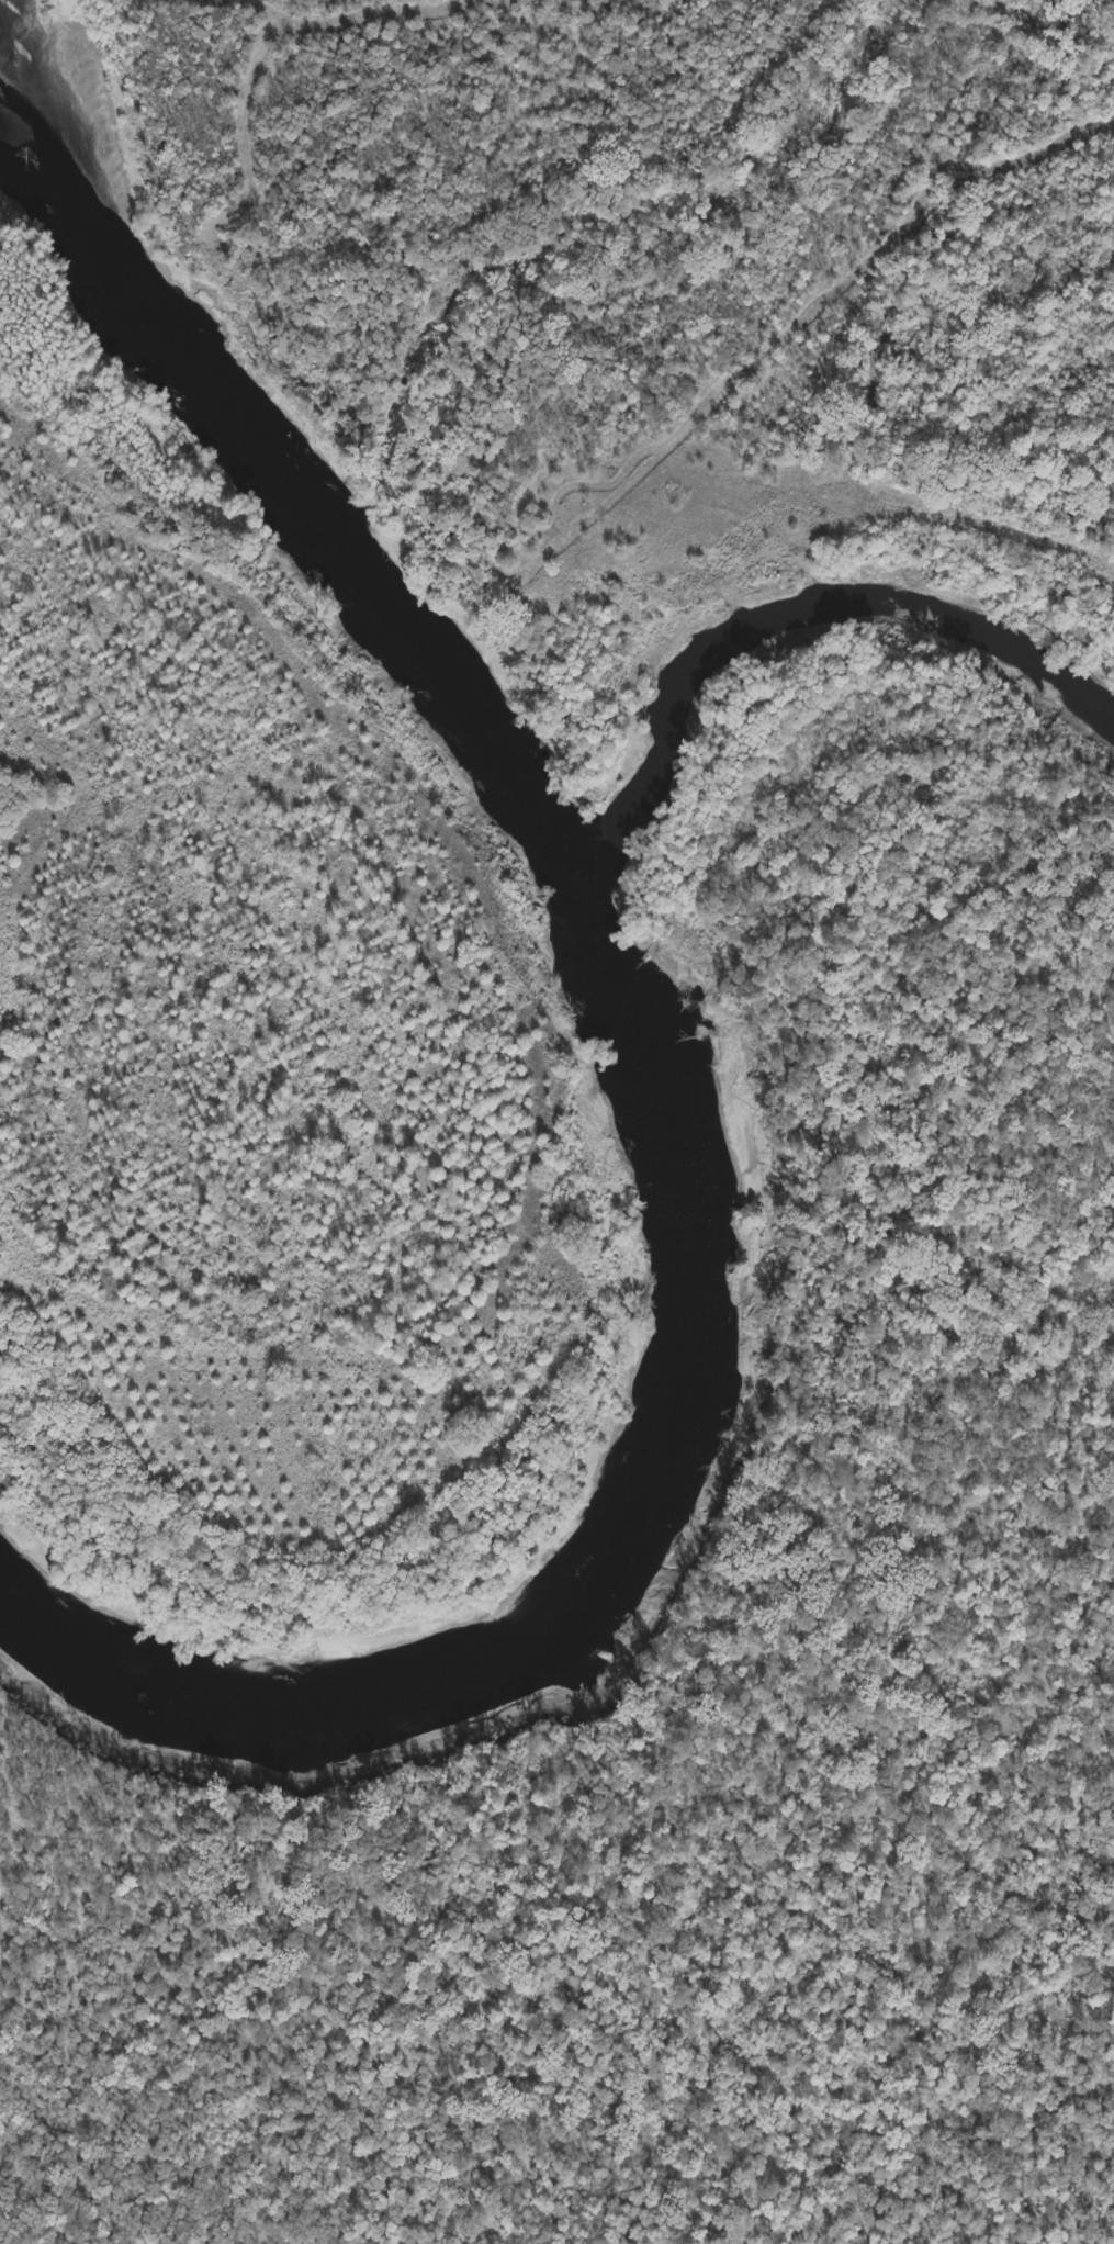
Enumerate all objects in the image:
river: (789, 624)
river: (649, 1026)

